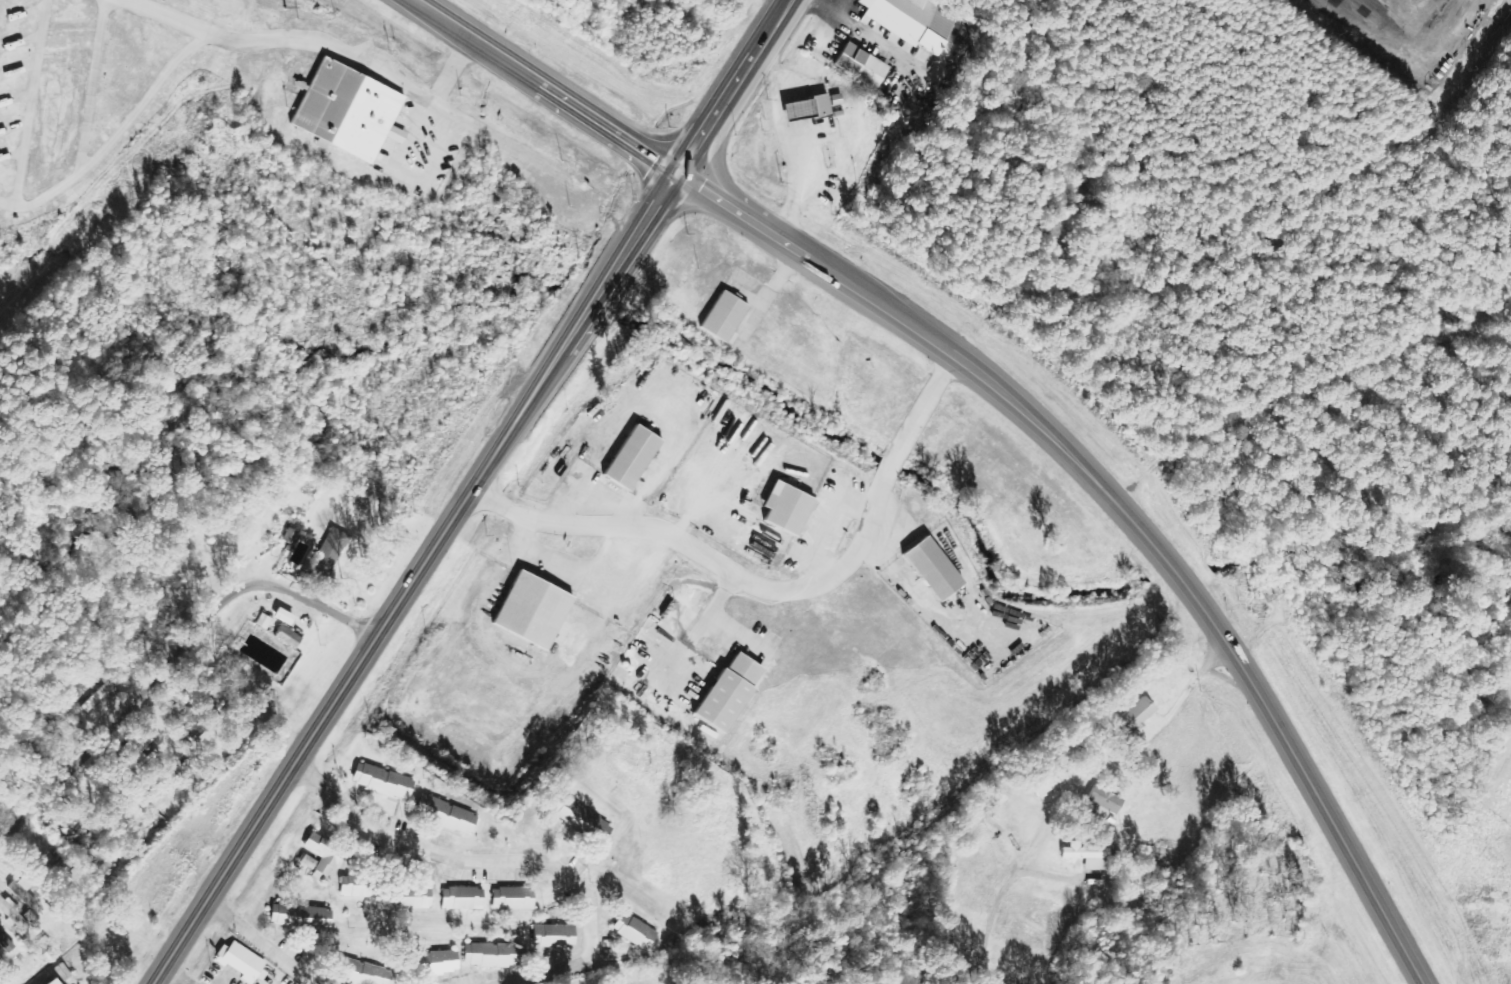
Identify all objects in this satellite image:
road: (167, 17)
building: (918, 20)
road: (363, 62)
building: (862, 65)
road: (94, 88)
road: (34, 103)
building: (807, 108)
building: (349, 111)
road: (116, 139)
road: (718, 175)
building: (725, 317)
road: (1017, 398)
building: (632, 457)
road: (472, 490)
building: (788, 508)
building: (332, 552)
building: (932, 568)
building: (533, 610)
building: (289, 636)
road: (169, 661)
building: (729, 692)
building: (1137, 715)
building: (141, 740)
building: (1048, 781)
building: (384, 782)
building: (1104, 802)
building: (446, 814)
building: (582, 819)
building: (324, 854)
building: (1087, 855)
road: (508, 859)
building: (357, 888)
building: (23, 895)
building: (412, 898)
building: (463, 898)
building: (513, 899)
building: (14, 914)
building: (301, 917)
building: (635, 931)
building: (554, 936)
road: (260, 943)
building: (241, 961)
building: (438, 963)
building: (359, 972)
road: (964, 973)
building: (51, 982)

